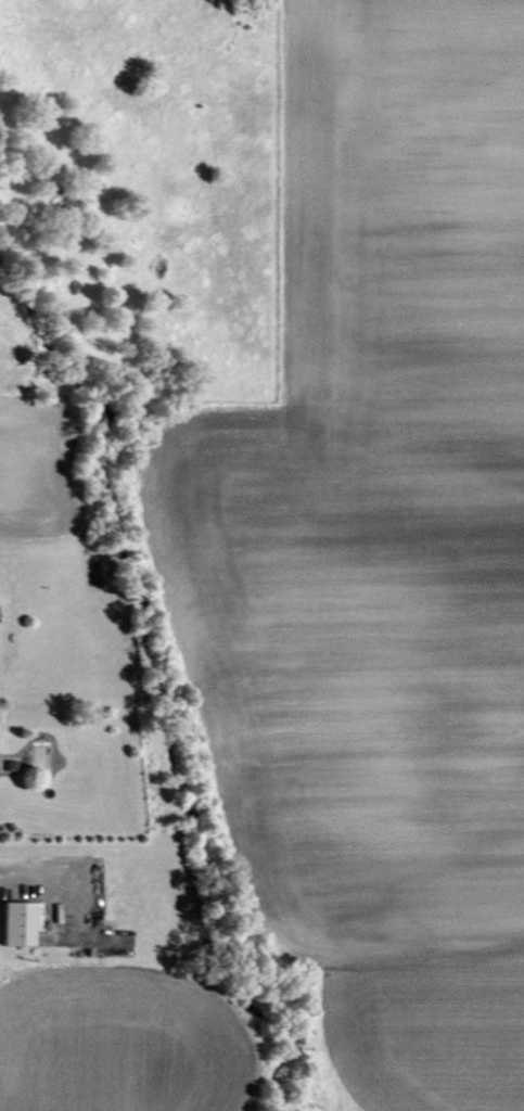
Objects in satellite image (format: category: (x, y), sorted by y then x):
road: (50, 865)
building: (22, 922)

